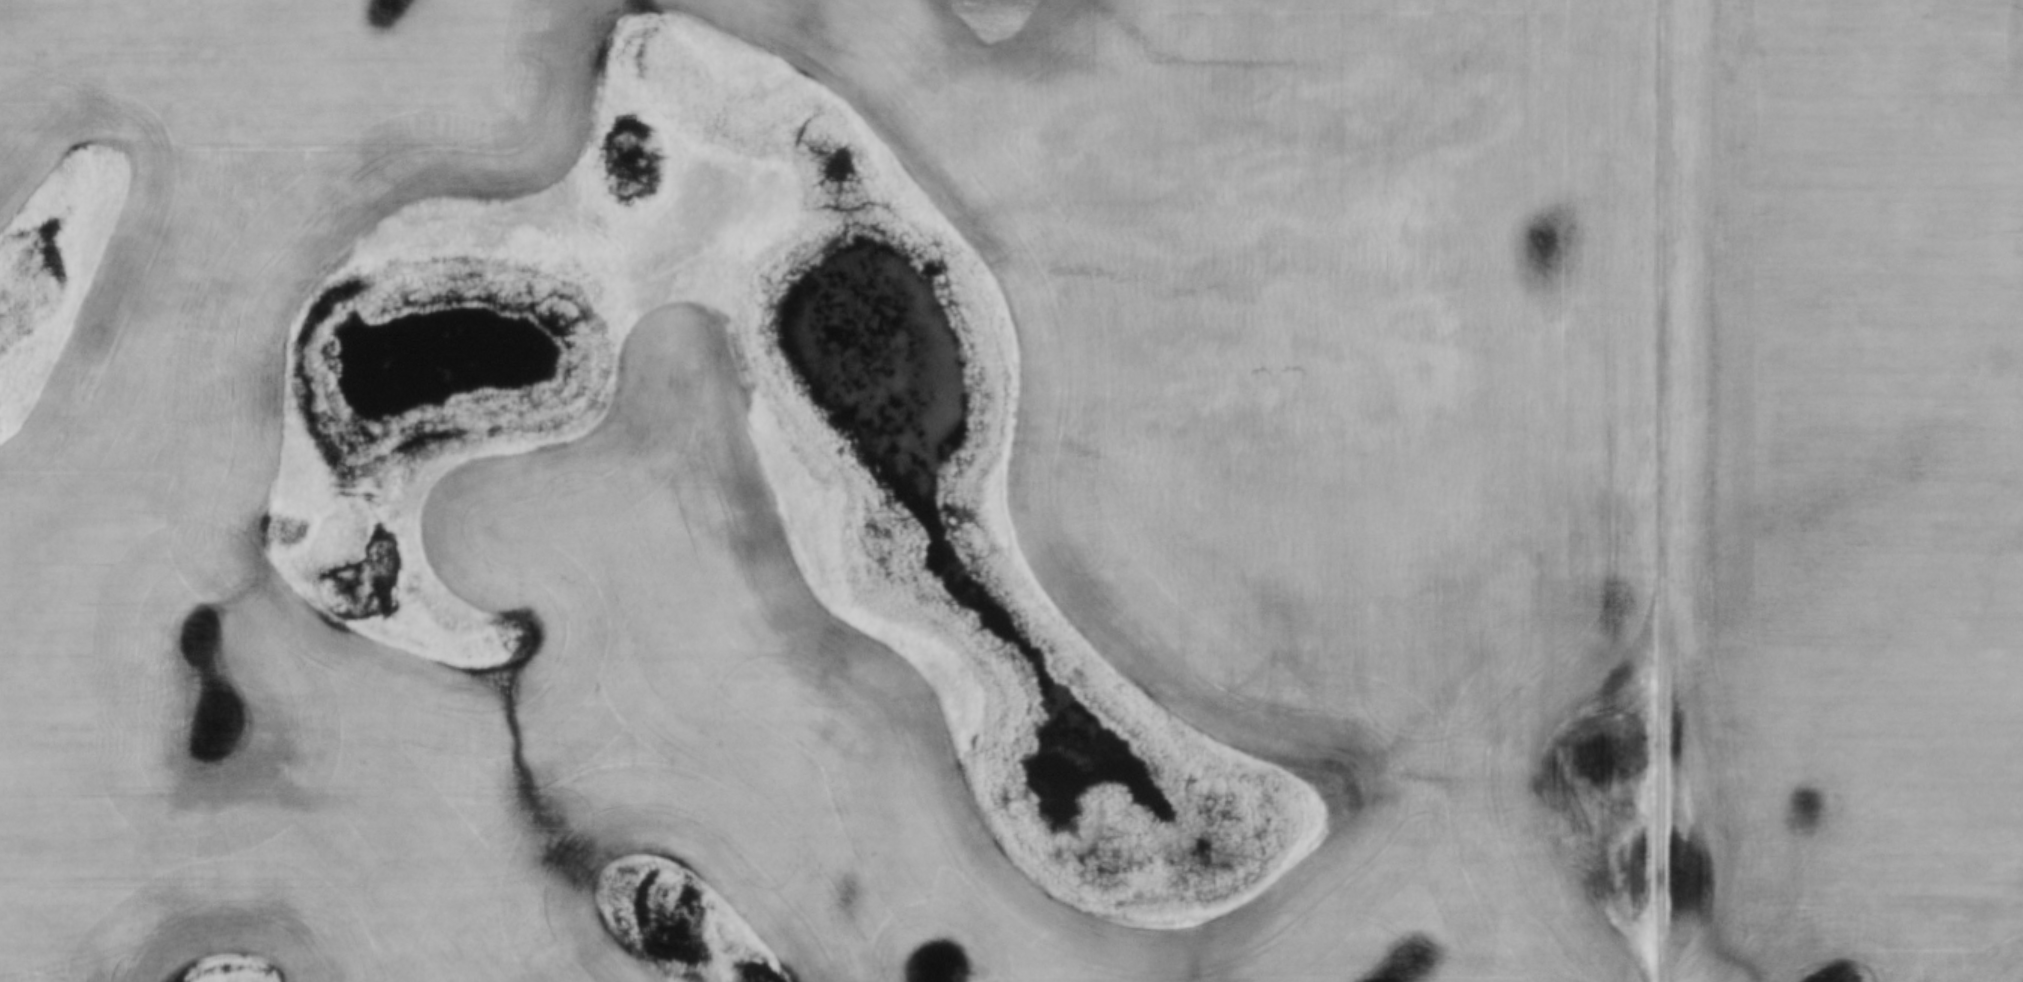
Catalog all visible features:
road: (1663, 491)

